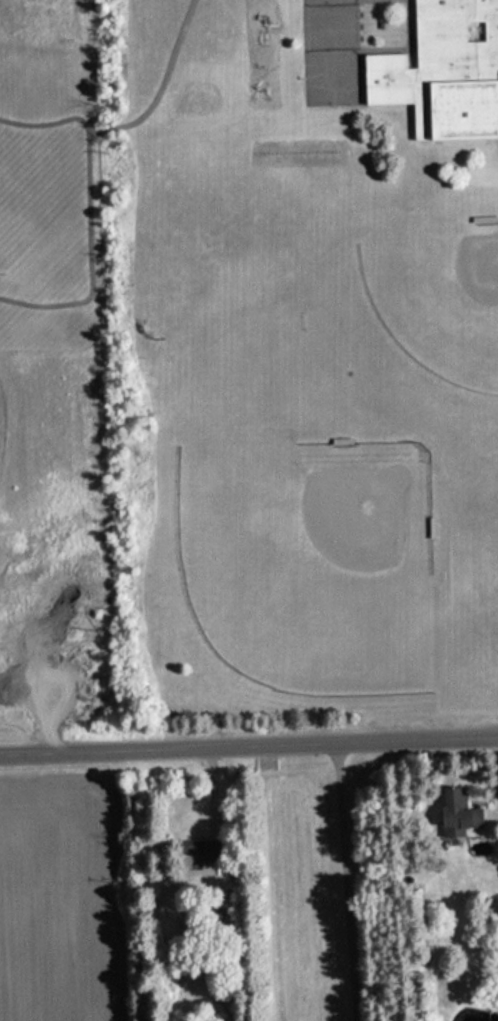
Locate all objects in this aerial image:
building: (443, 70)
road: (133, 118)
road: (92, 260)
park: (439, 300)
park: (310, 569)
road: (249, 736)
building: (454, 814)
building: (199, 855)

